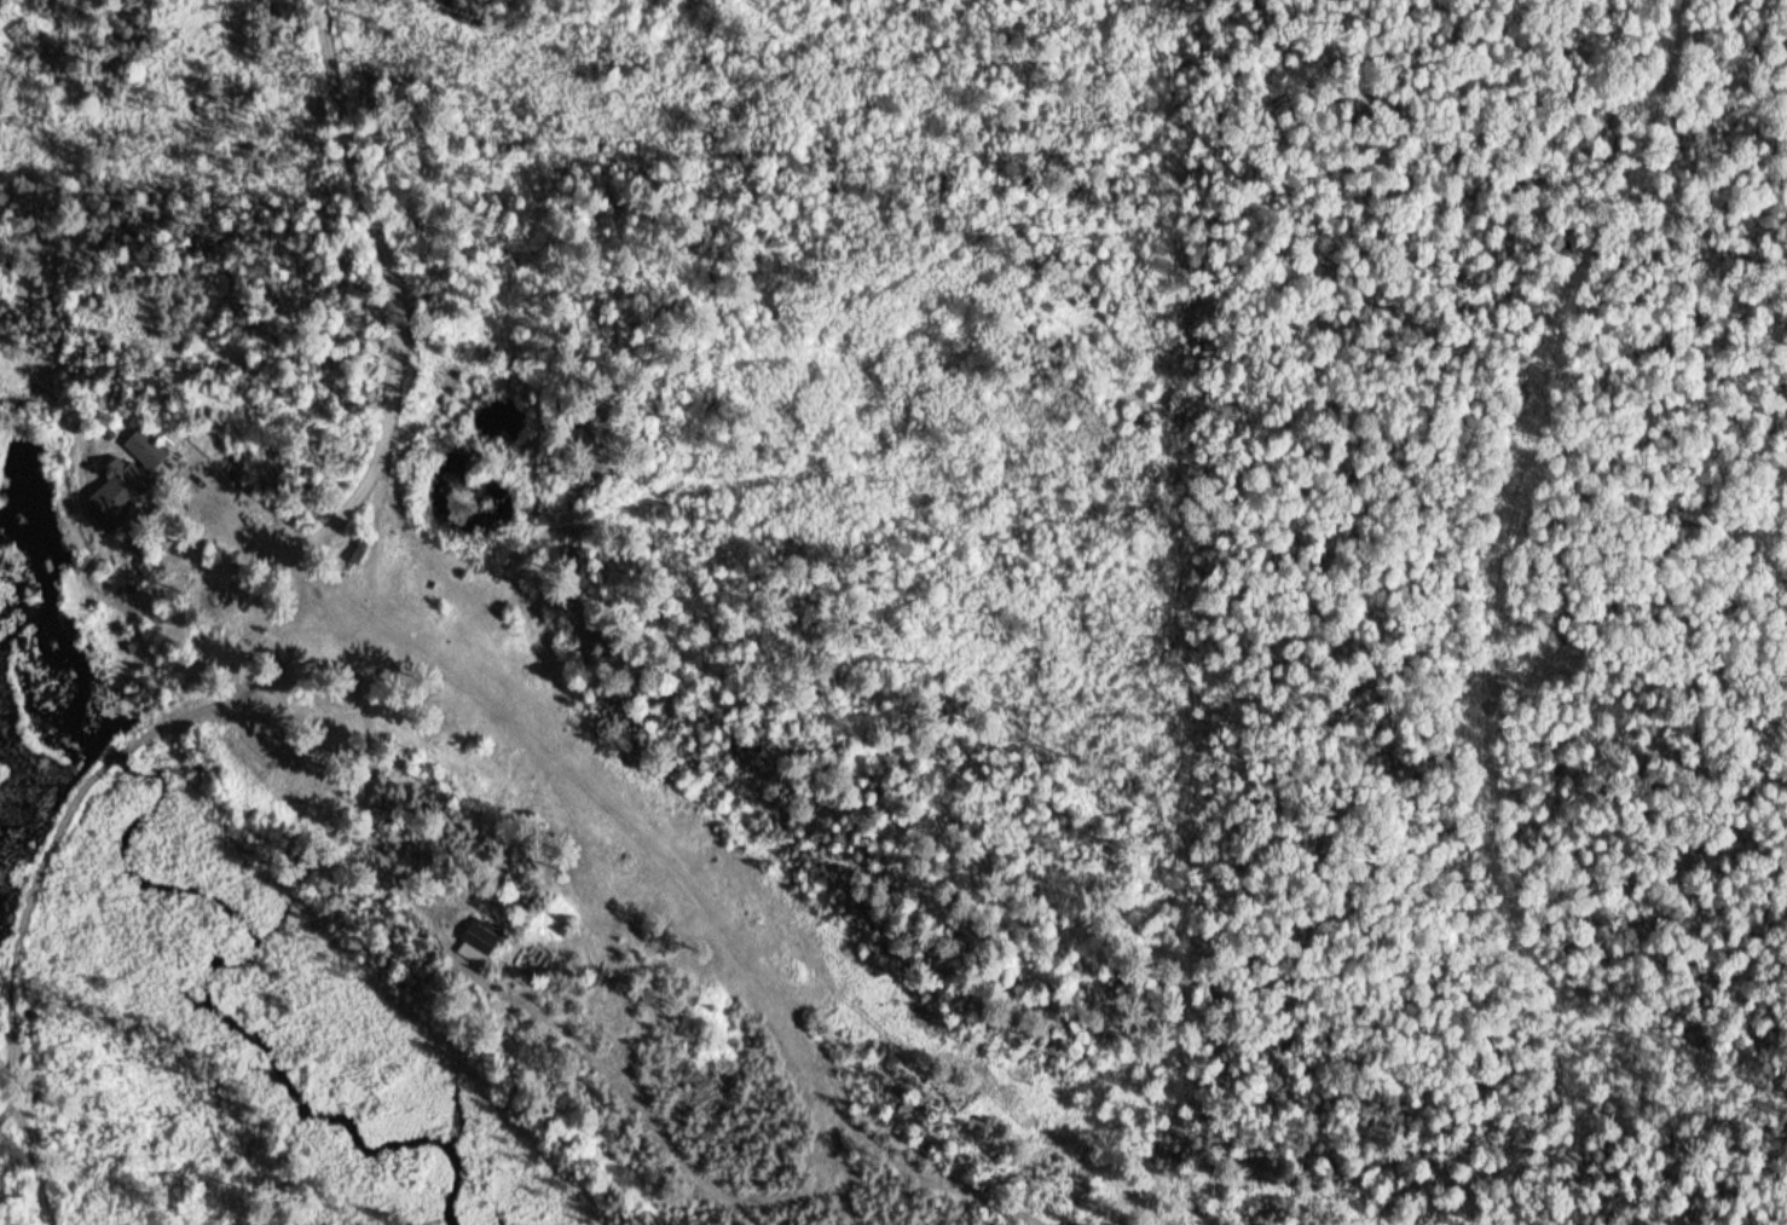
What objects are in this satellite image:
road: (371, 468)
building: (131, 478)
building: (484, 935)
road: (10, 1017)

